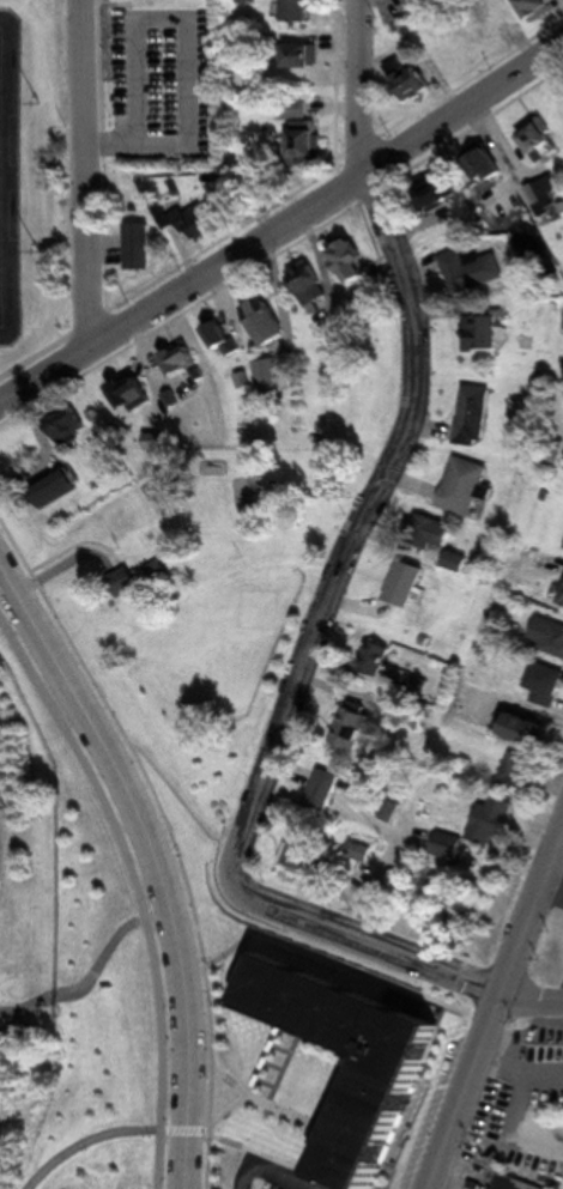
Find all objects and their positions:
building: (539, 7)
building: (297, 11)
road: (188, 19)
building: (495, 26)
building: (454, 55)
building: (303, 56)
building: (406, 78)
parking lot: (164, 81)
road: (358, 86)
building: (541, 140)
building: (308, 141)
road: (111, 144)
building: (496, 171)
road: (85, 172)
building: (440, 192)
building: (540, 195)
building: (194, 222)
road: (280, 222)
building: (138, 247)
road: (283, 248)
building: (351, 261)
road: (168, 269)
building: (473, 269)
building: (309, 285)
building: (365, 296)
building: (265, 322)
building: (483, 334)
building: (219, 339)
building: (266, 376)
building: (129, 393)
building: (476, 415)
building: (72, 429)
building: (155, 444)
building: (553, 451)
building: (467, 486)
building: (57, 491)
road: (358, 532)
building: (430, 532)
building: (161, 571)
building: (125, 583)
building: (411, 584)
park: (200, 611)
park: (242, 618)
building: (549, 636)
building: (380, 659)
building: (418, 685)
building: (547, 685)
building: (396, 710)
building: (361, 722)
building: (531, 730)
building: (353, 740)
building: (522, 771)
building: (332, 783)
road: (174, 791)
building: (323, 803)
building: (393, 803)
building: (496, 823)
road: (167, 837)
stadium: (1, 838)
building: (450, 845)
building: (305, 849)
building: (365, 851)
road: (151, 865)
road: (389, 866)
road: (133, 888)
road: (373, 940)
road: (231, 953)
road: (377, 972)
road: (93, 976)
road: (532, 1000)
road: (494, 1011)
building: (550, 1045)
building: (380, 1094)
road: (264, 1105)
road: (230, 1117)
road: (217, 1138)
road: (90, 1146)
building: (540, 1159)
park: (98, 1160)
road: (274, 1175)
parking lot: (279, 1176)
building: (520, 1183)

